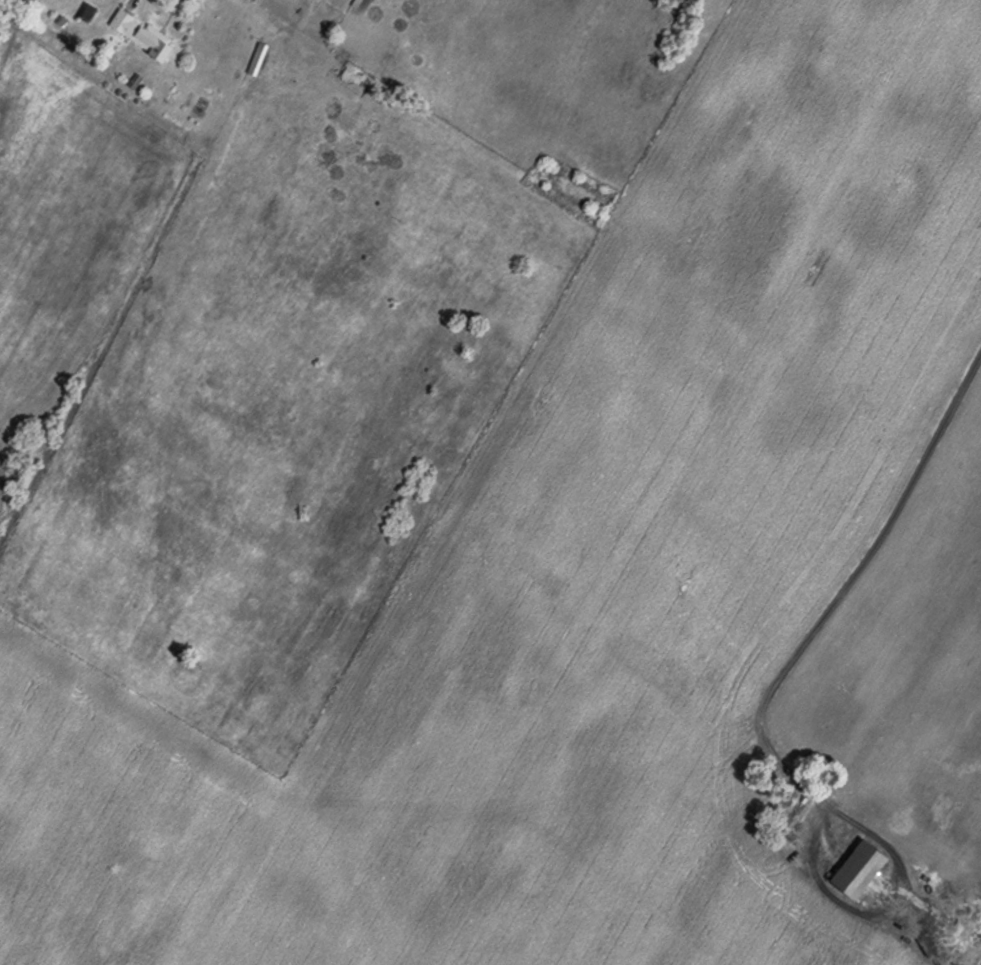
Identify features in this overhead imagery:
road: (819, 629)

